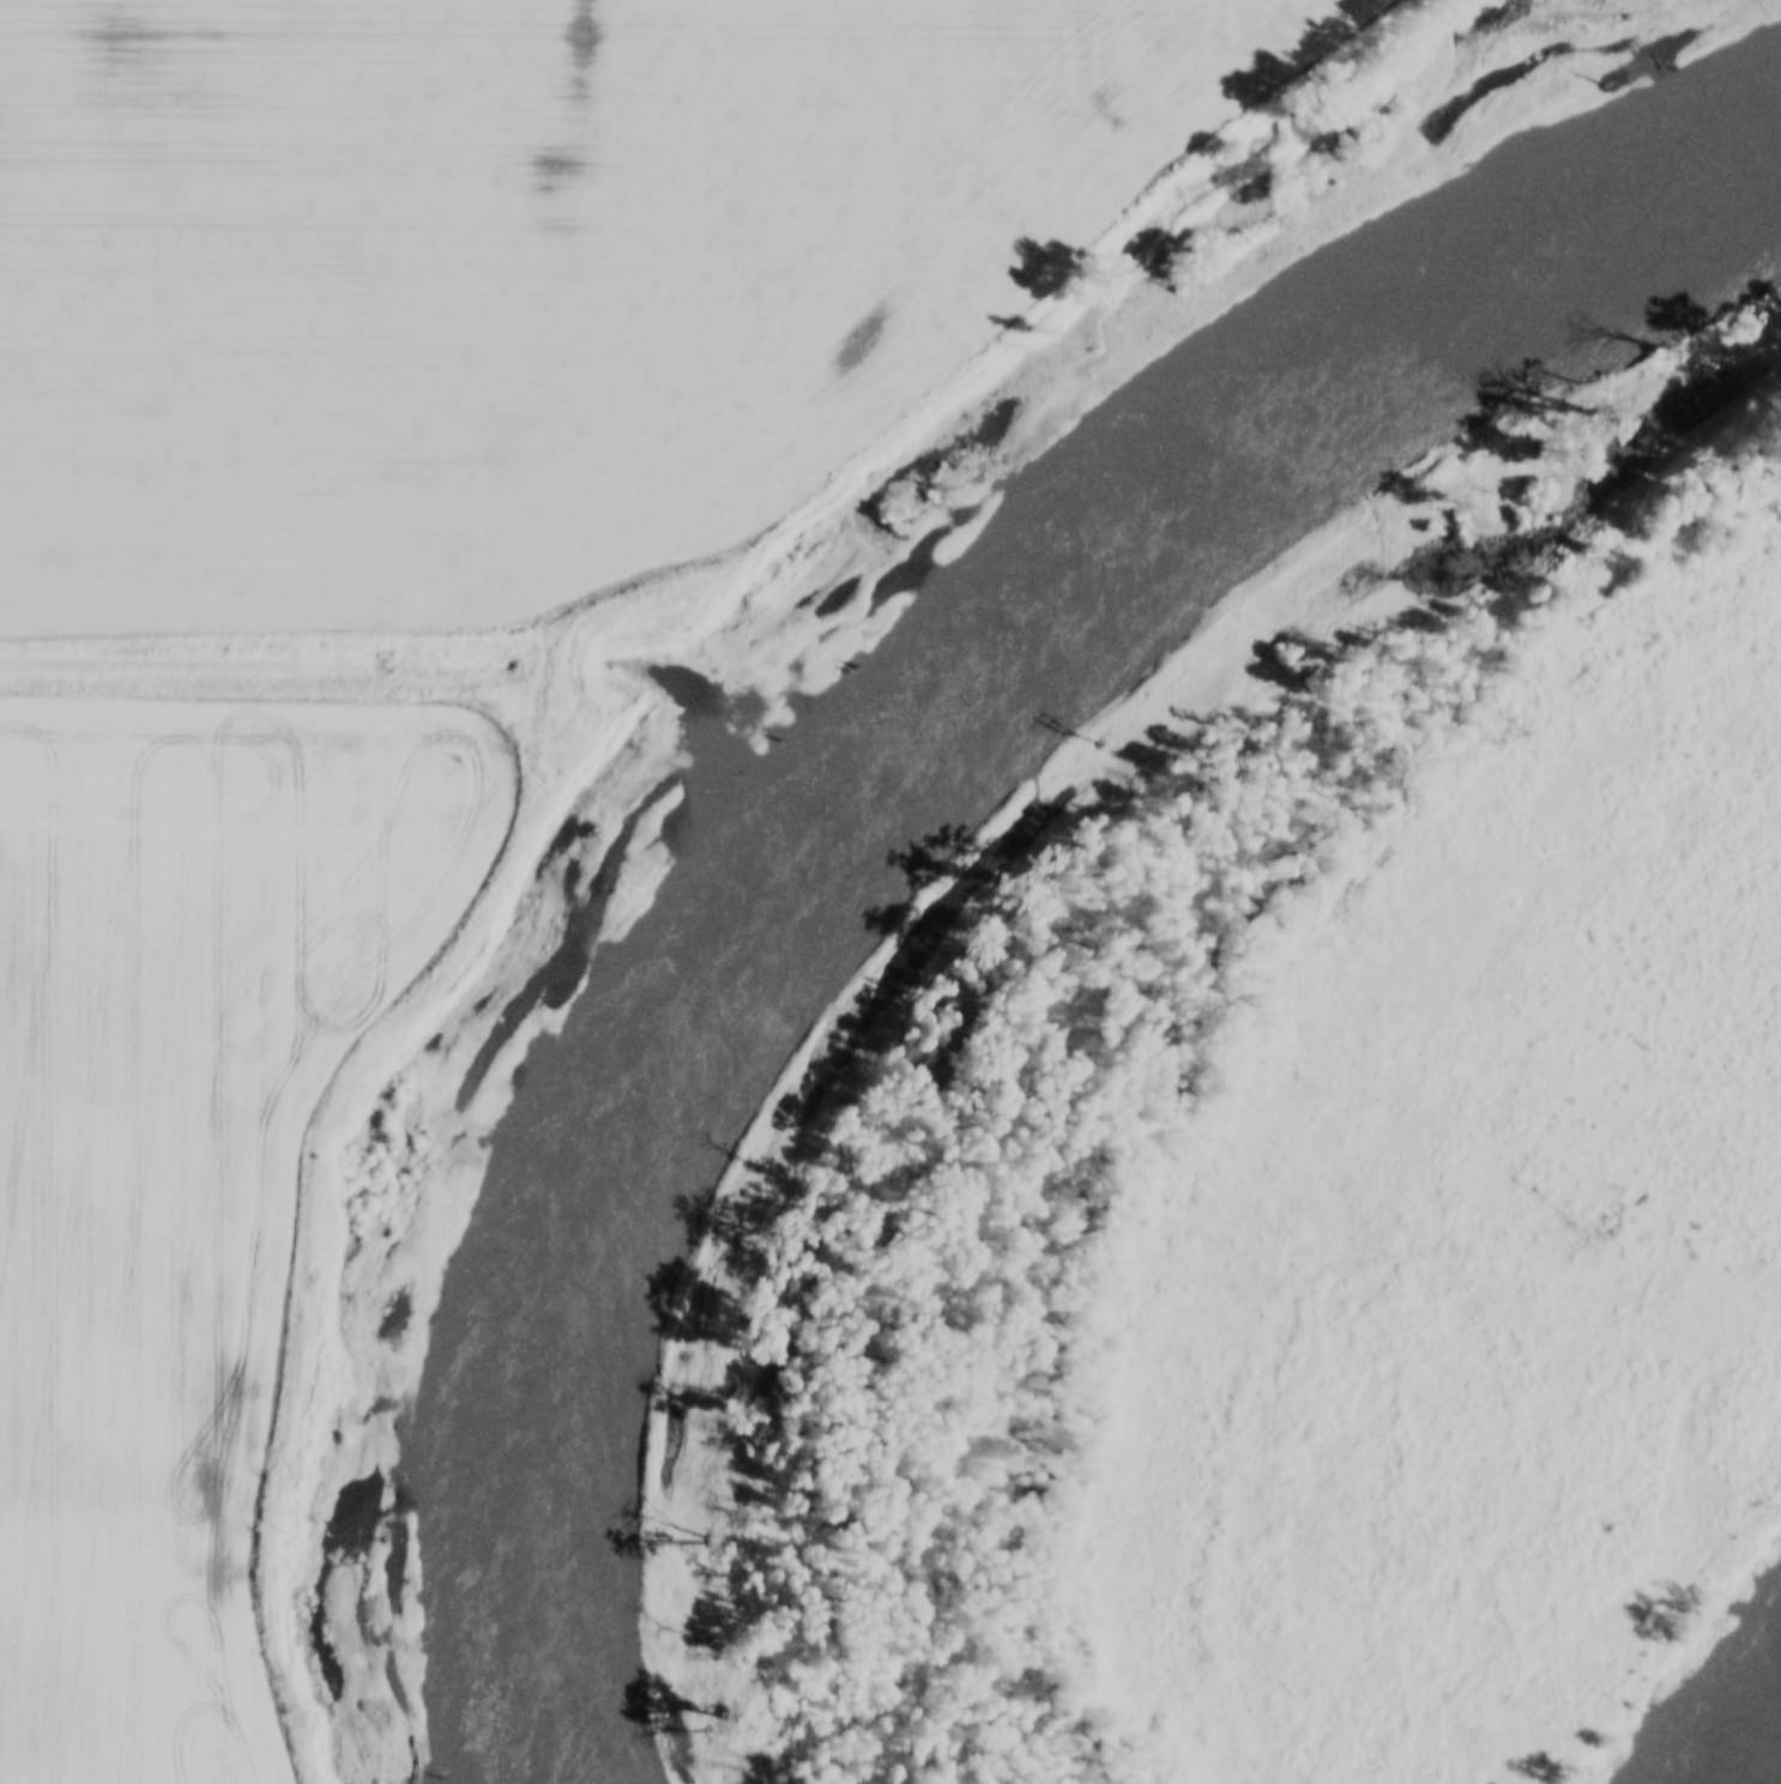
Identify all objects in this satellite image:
river: (893, 794)
river: (1753, 1748)

